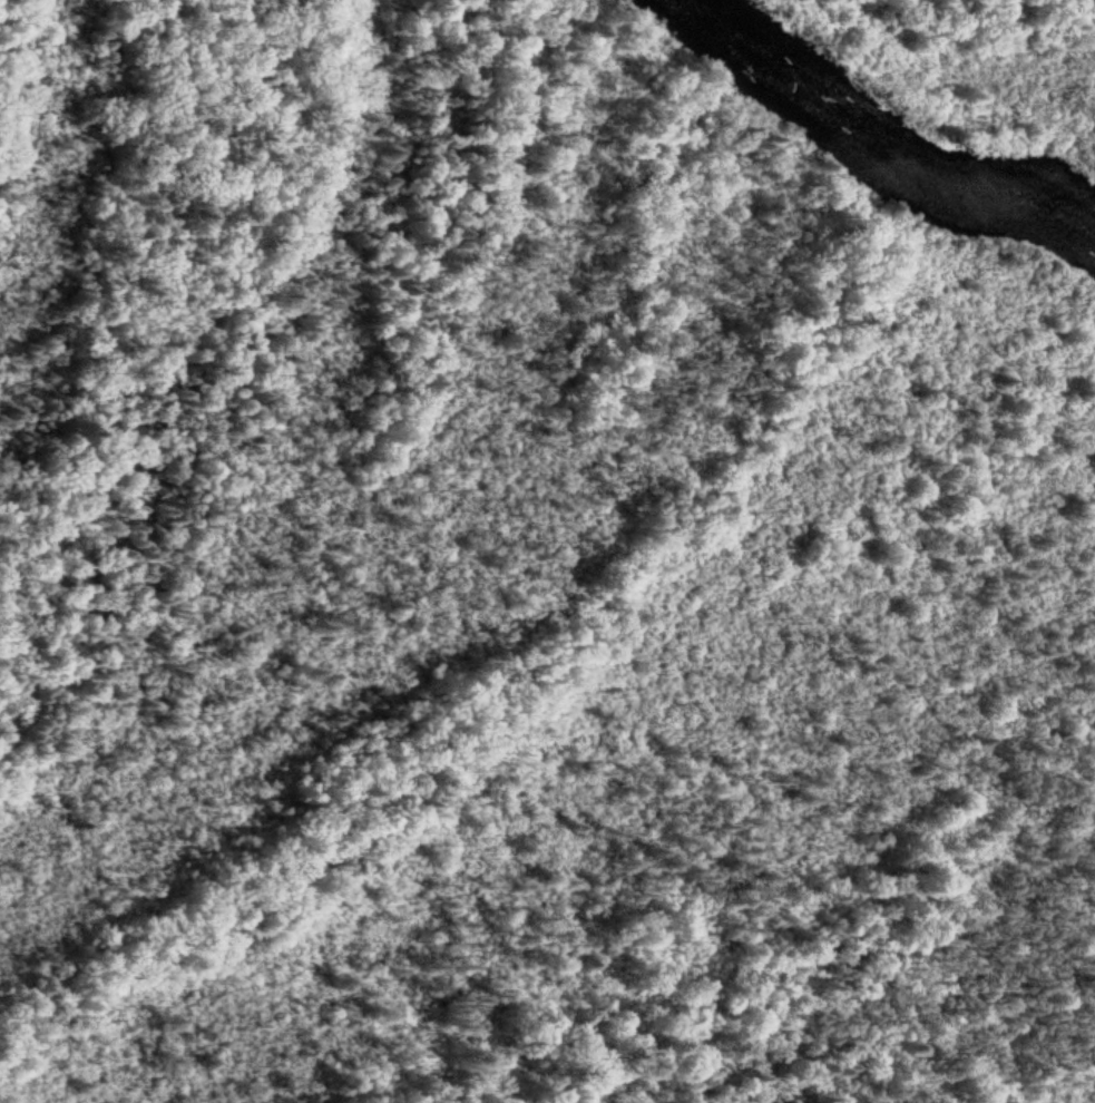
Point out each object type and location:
river: (876, 141)

